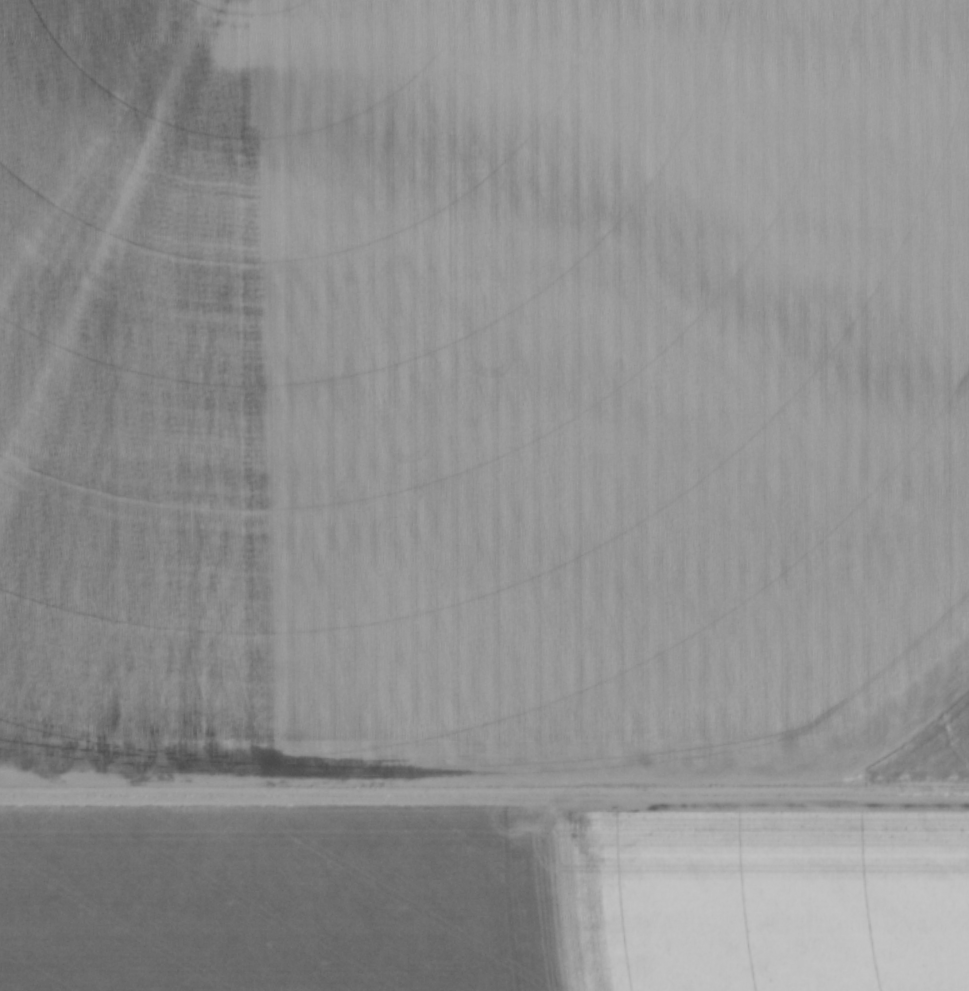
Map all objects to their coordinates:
building: (483, 586)

